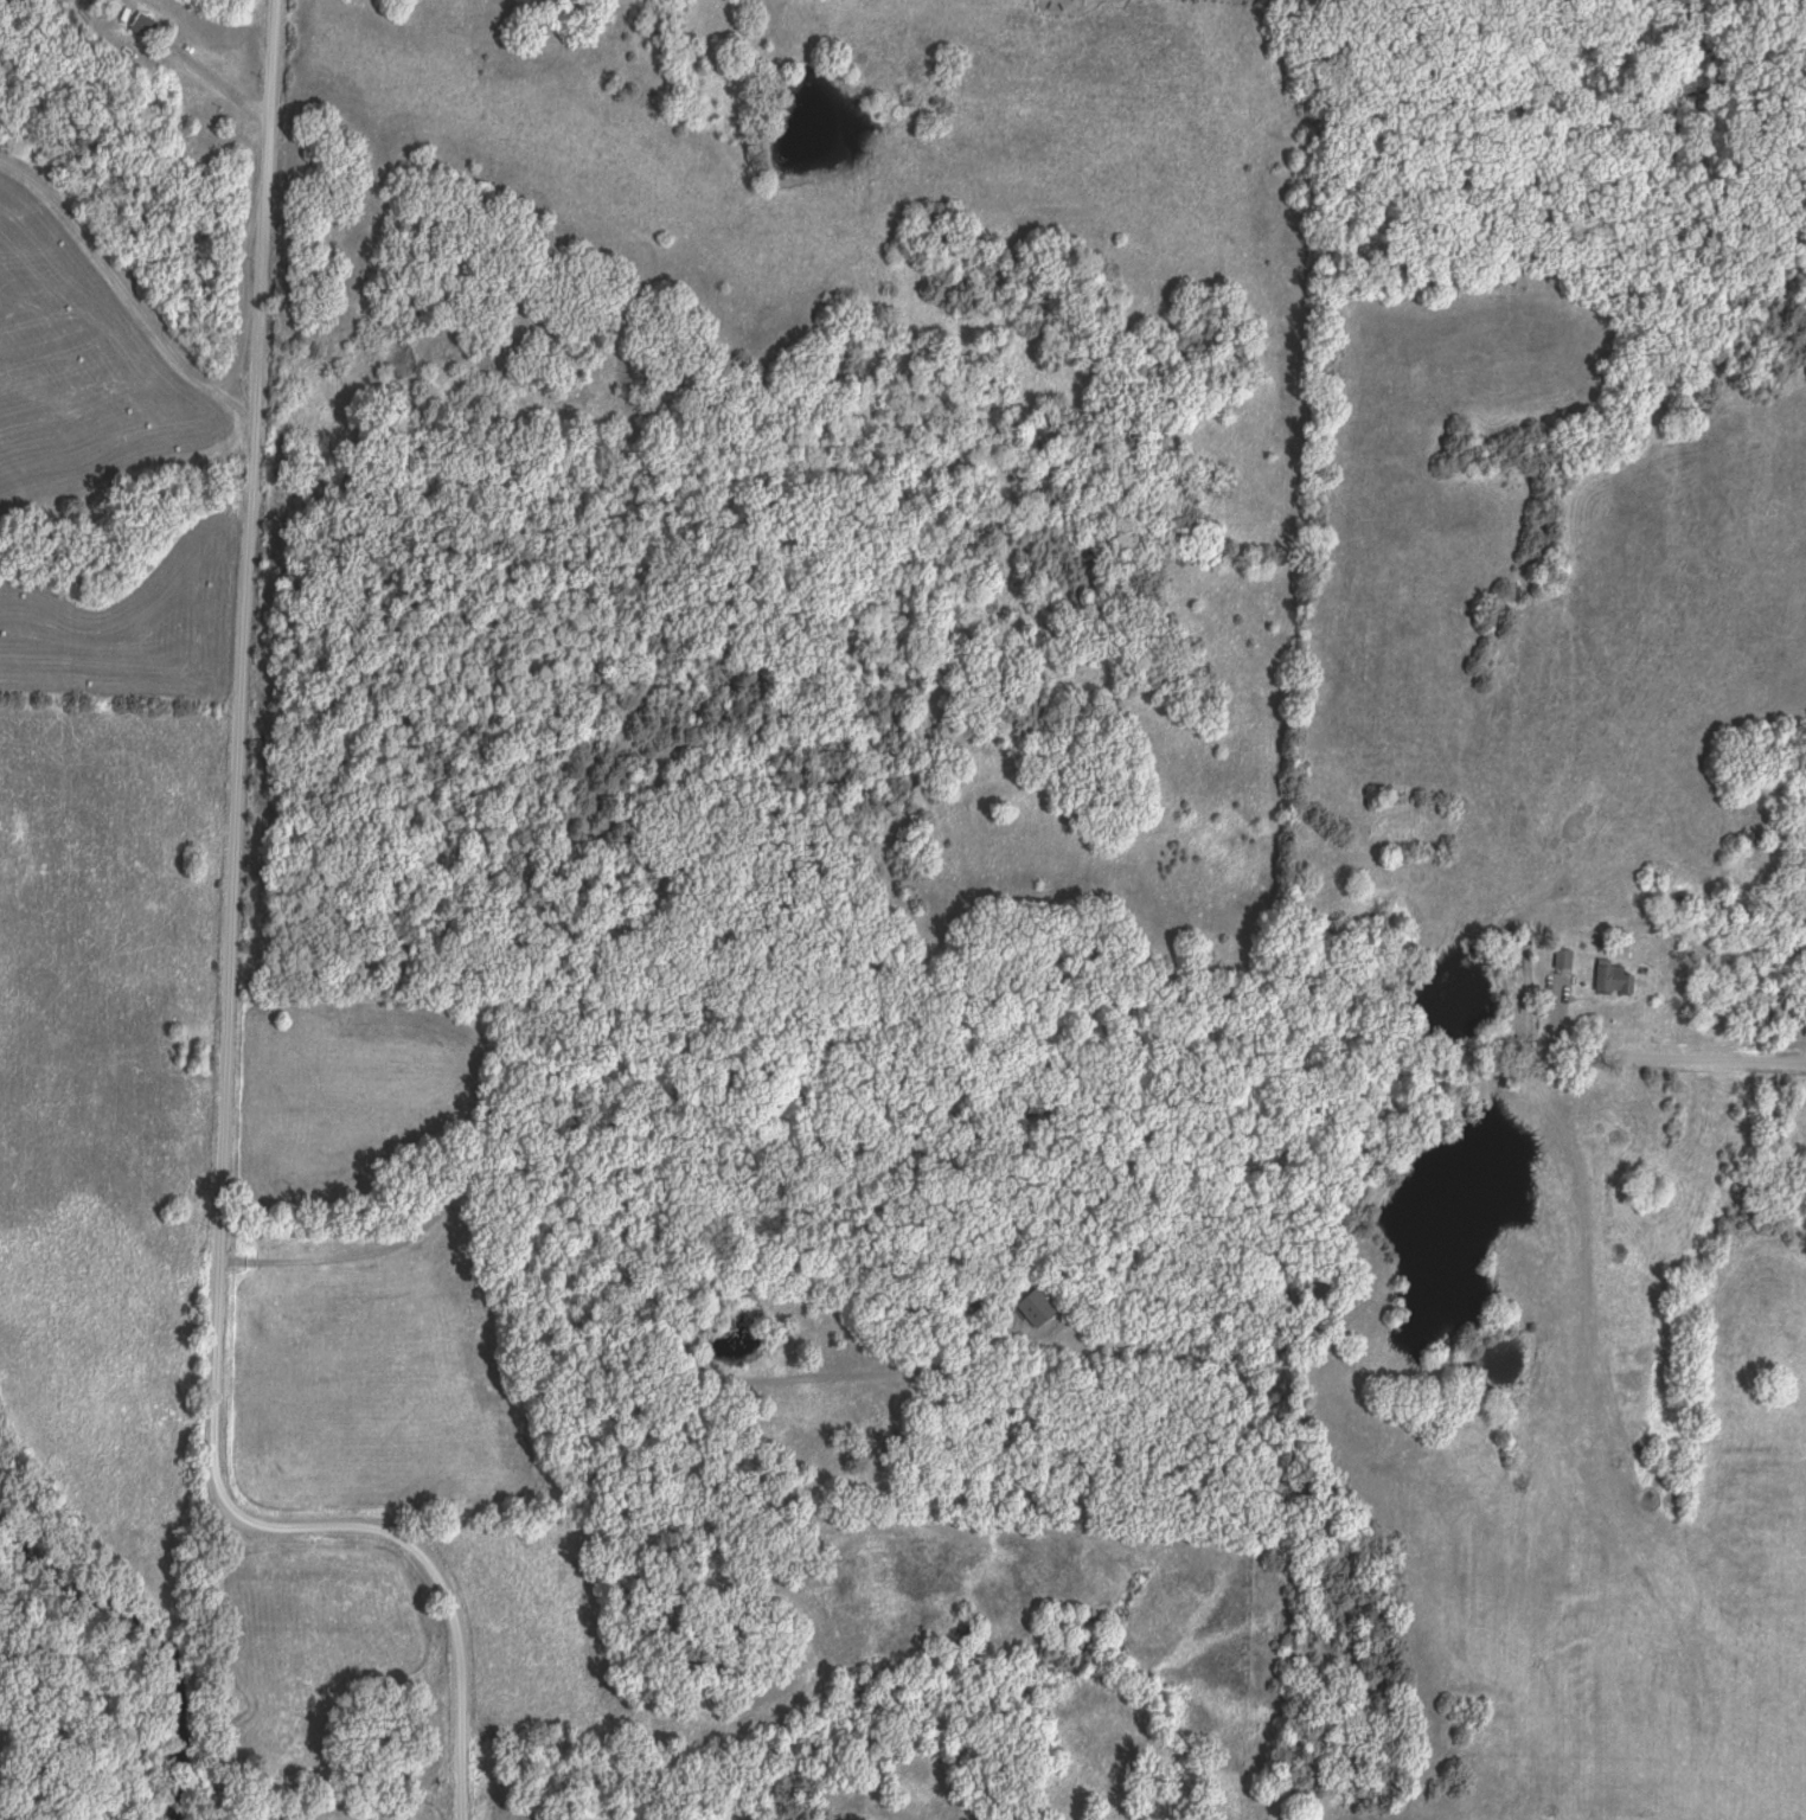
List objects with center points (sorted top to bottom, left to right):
building: (145, 26)
road: (207, 62)
road: (165, 339)
road: (252, 630)
building: (1754, 842)
building: (1564, 961)
building: (1613, 980)
road: (1556, 1014)
road: (1686, 1057)
building: (1037, 1310)
road: (1101, 1346)
road: (338, 1527)

